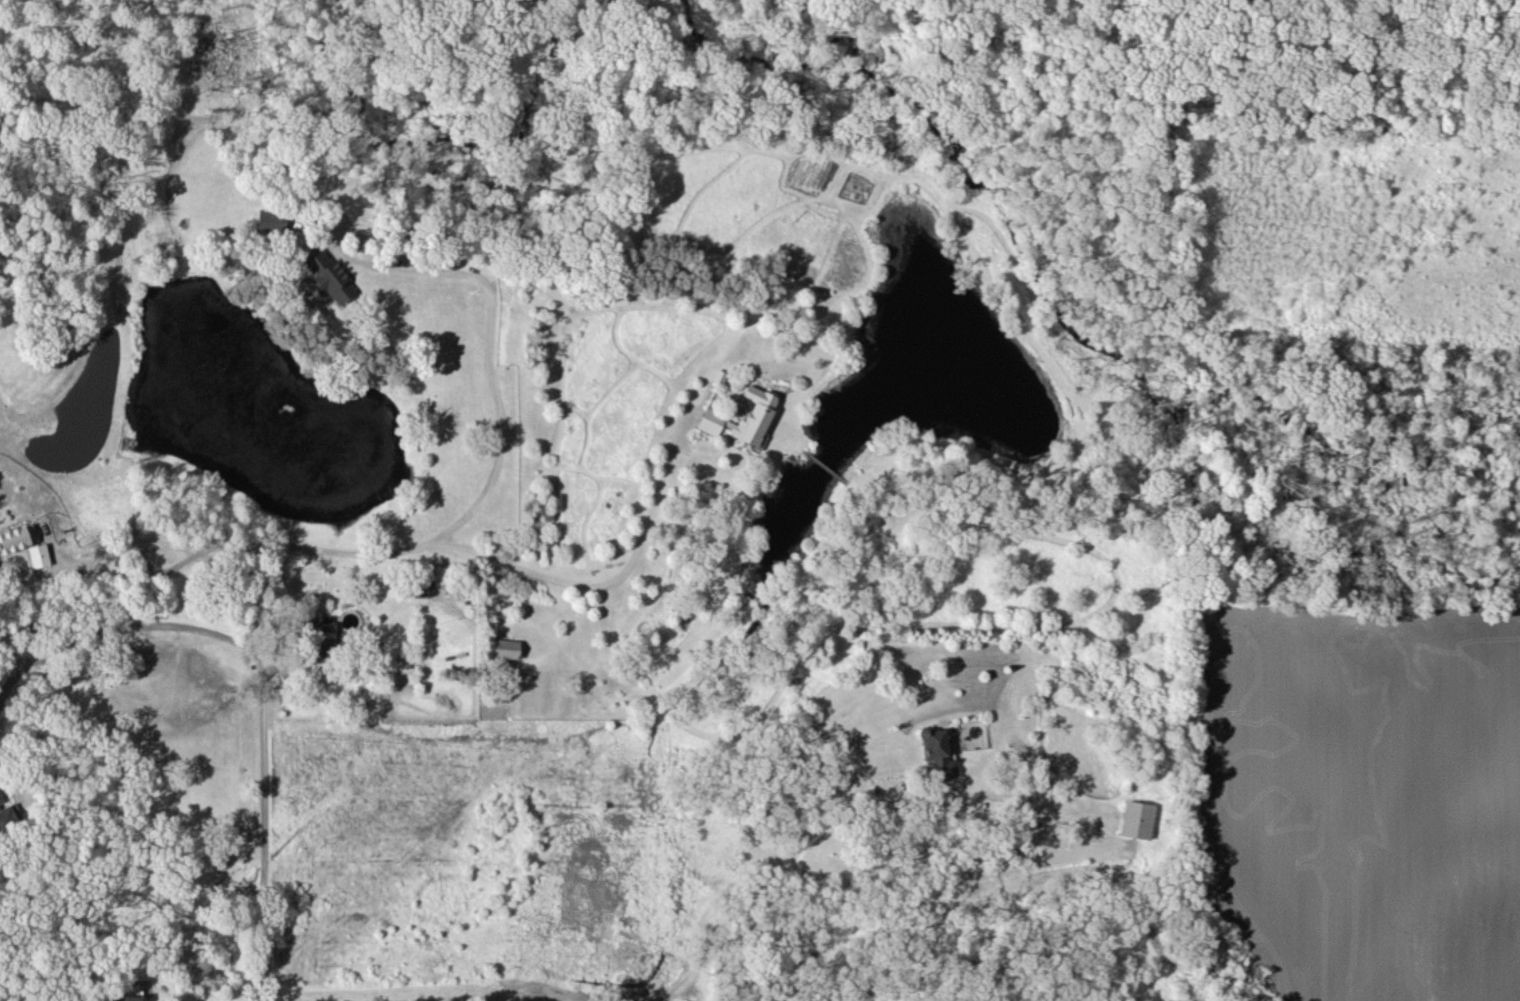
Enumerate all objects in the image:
building: (270, 220)
building: (326, 273)
building: (757, 415)
road: (497, 456)
building: (17, 538)
road: (155, 540)
building: (38, 554)
road: (608, 584)
road: (115, 624)
building: (321, 640)
building: (505, 648)
road: (315, 672)
building: (937, 752)
road: (257, 770)
building: (9, 815)
building: (1137, 819)
road: (731, 923)
road: (369, 988)
building: (125, 997)

